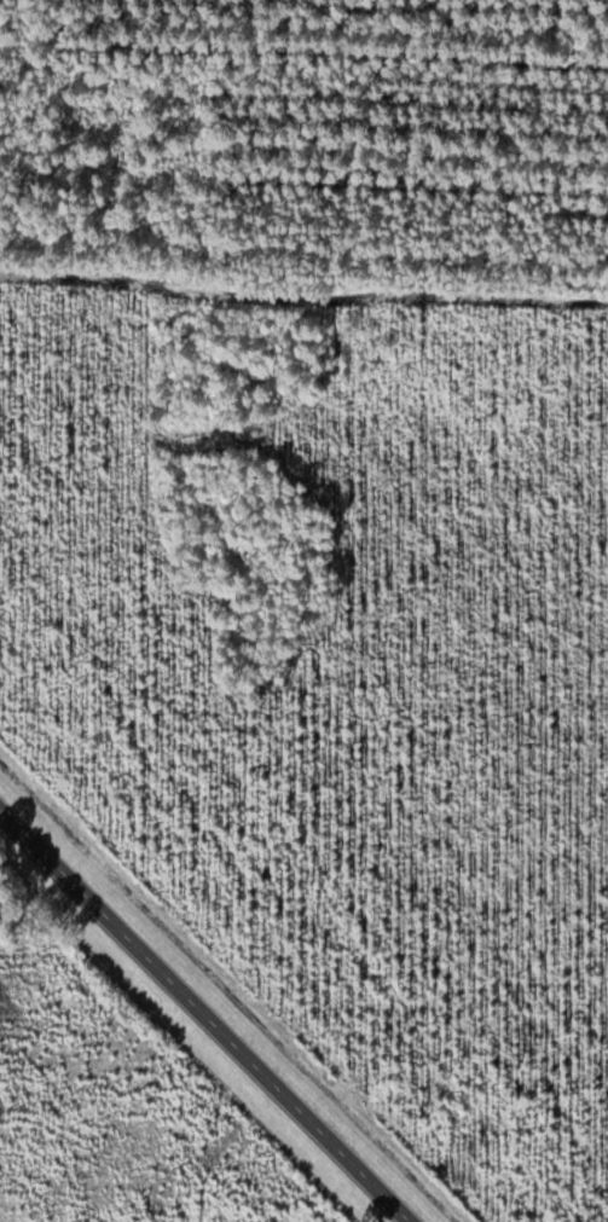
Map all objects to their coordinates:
road: (205, 1015)

